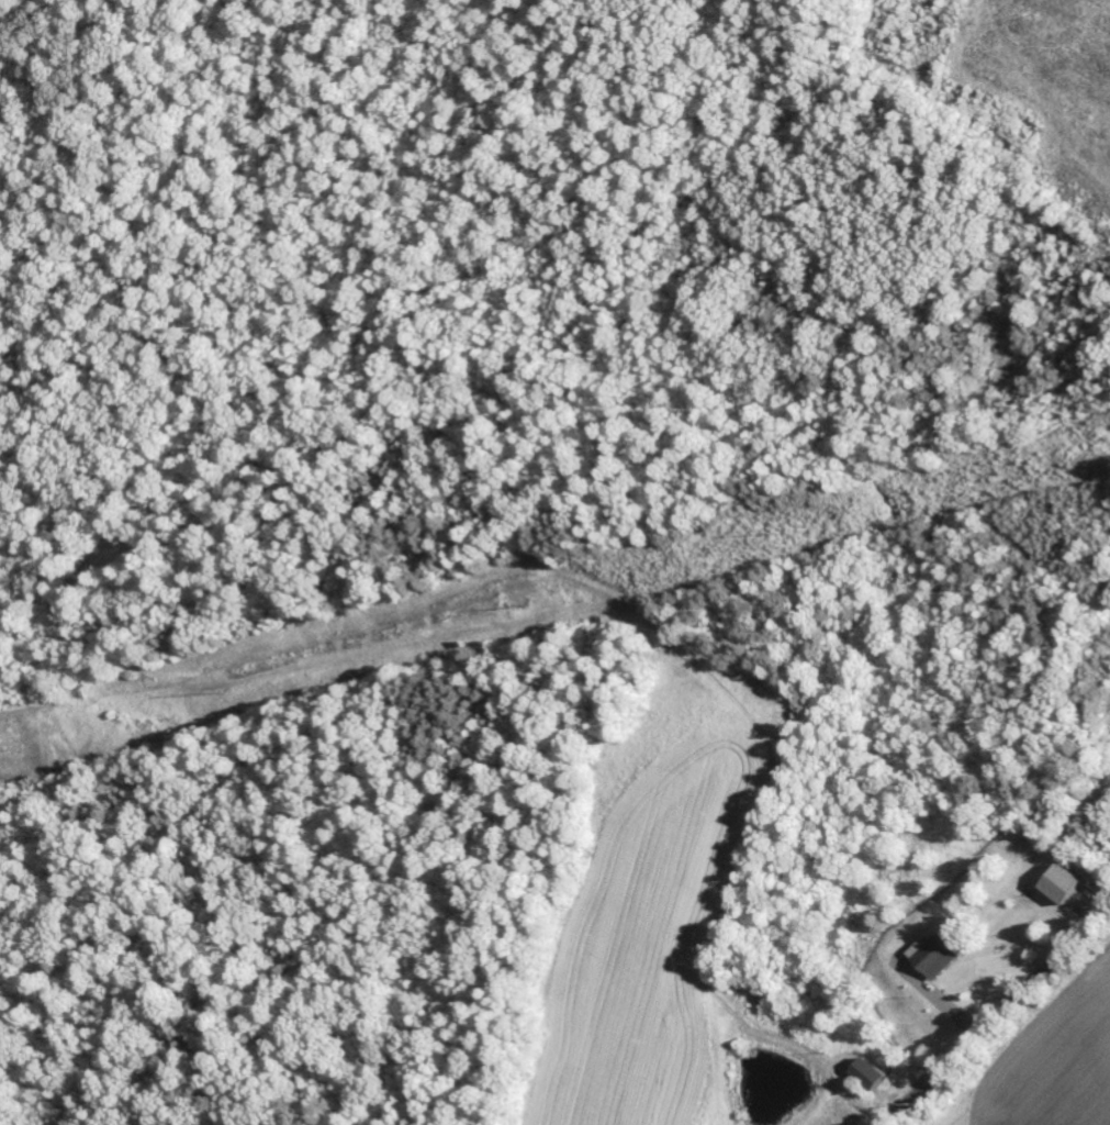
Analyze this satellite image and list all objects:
building: (1062, 884)
building: (934, 956)
road: (998, 1015)
building: (870, 1074)

